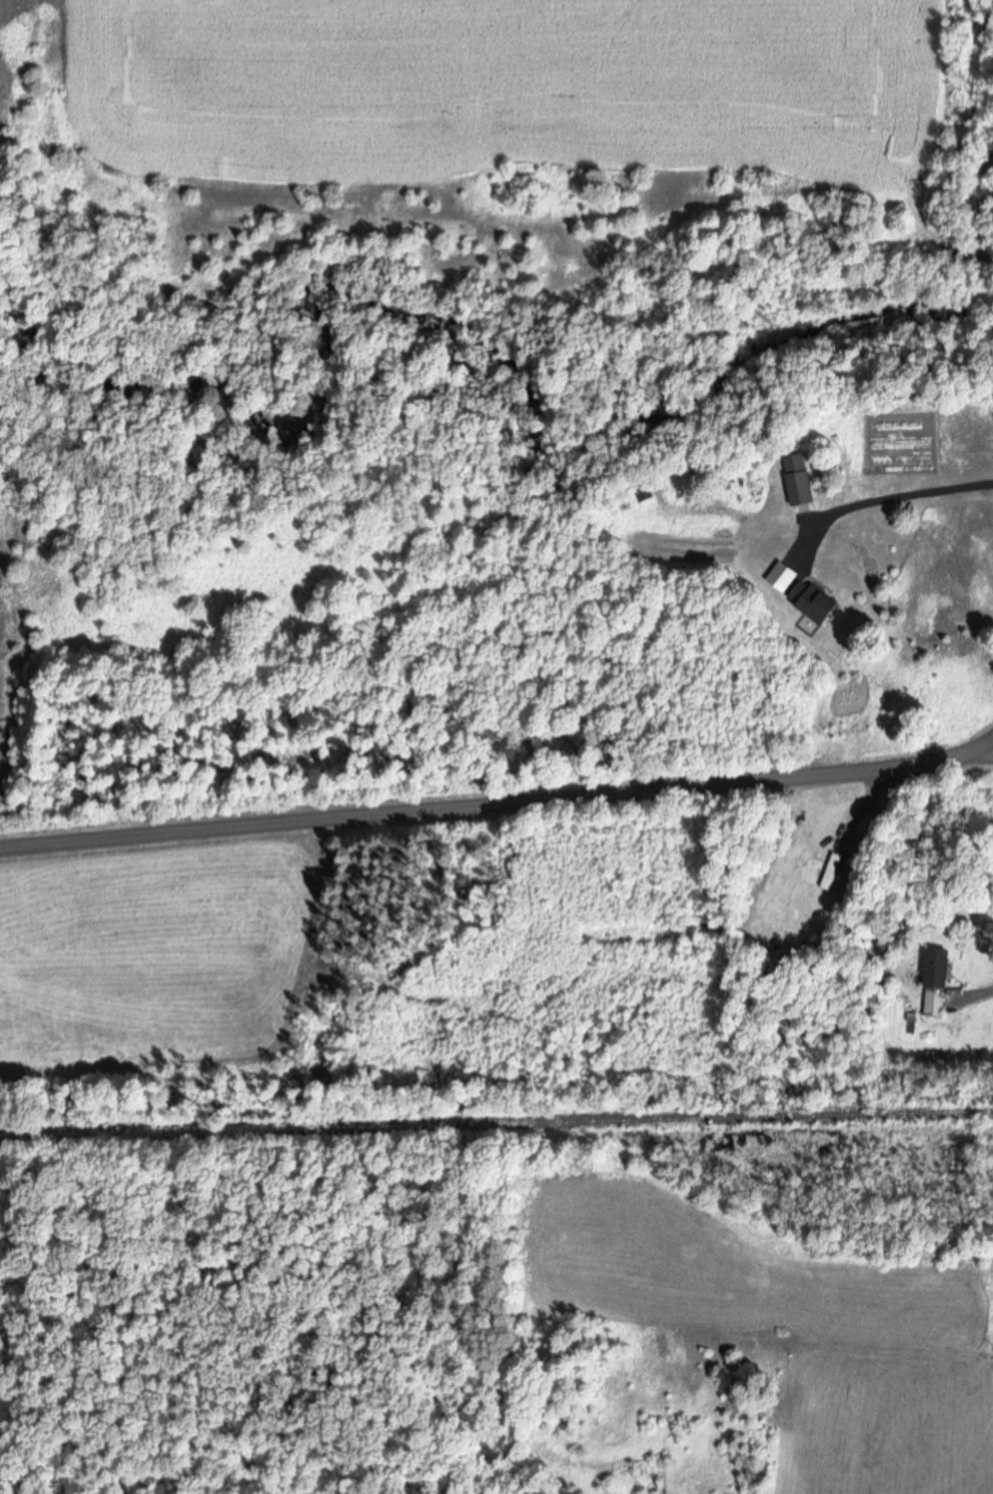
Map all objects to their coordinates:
building: (802, 484)
building: (818, 603)
road: (499, 794)
building: (859, 843)
building: (939, 983)
railway: (496, 1125)

